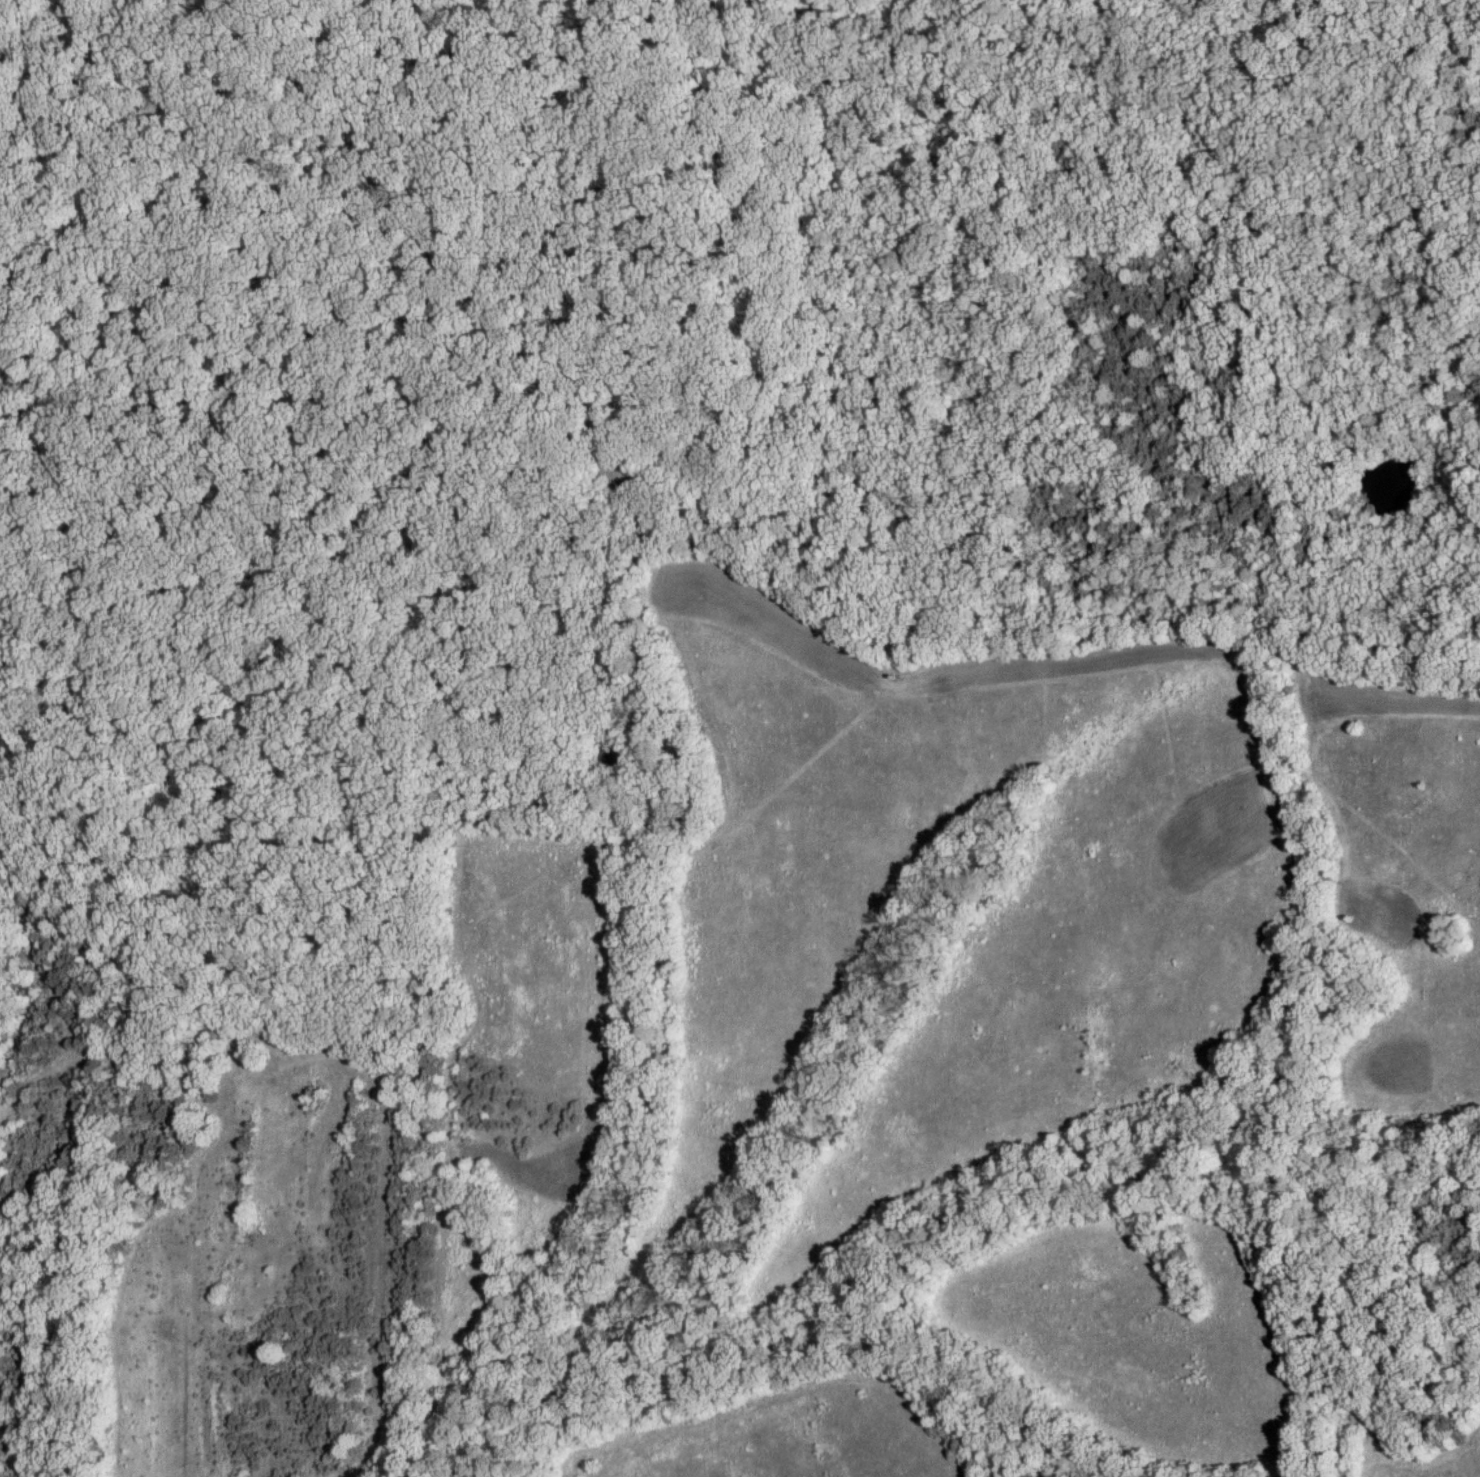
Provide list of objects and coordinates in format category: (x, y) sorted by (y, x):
road: (322, 1056)

